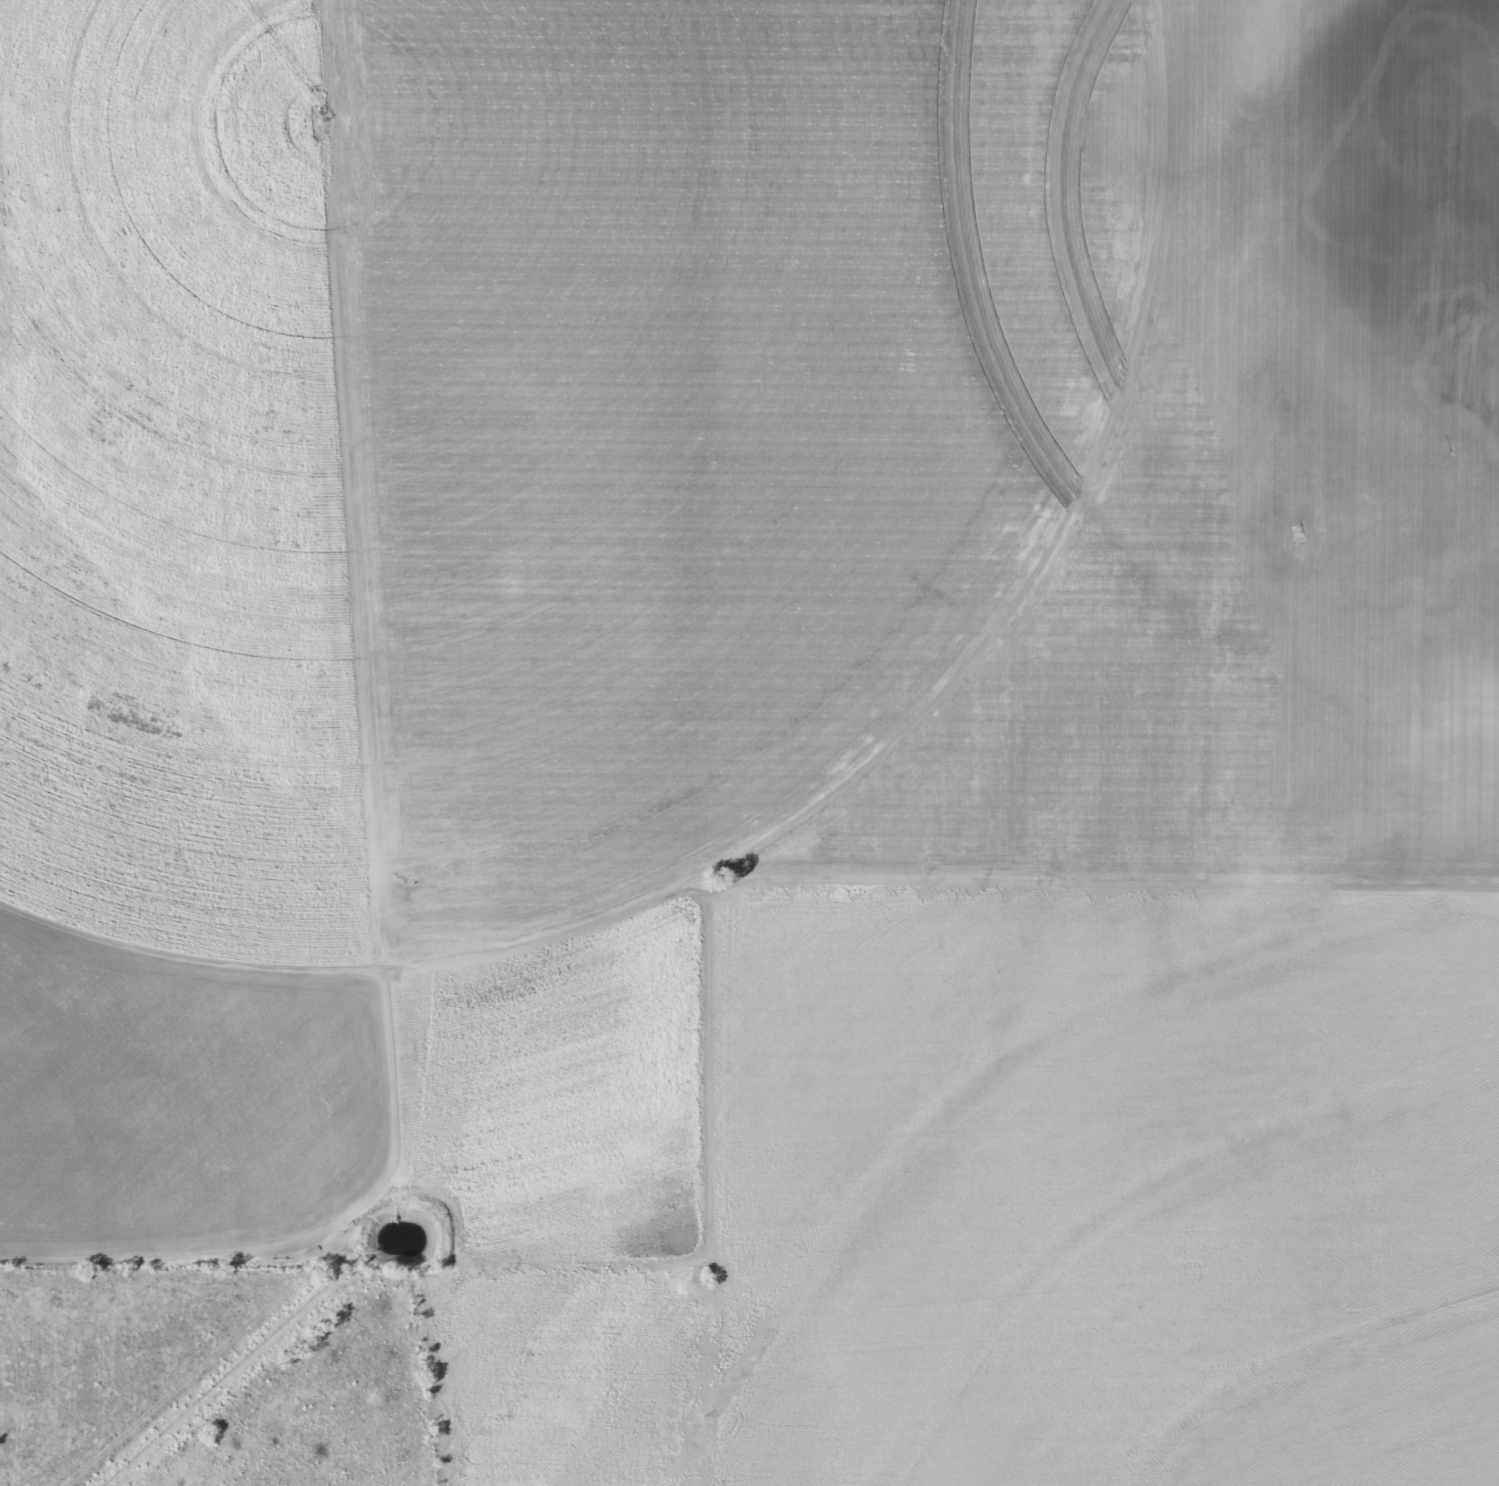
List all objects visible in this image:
crop: (525, 433)

